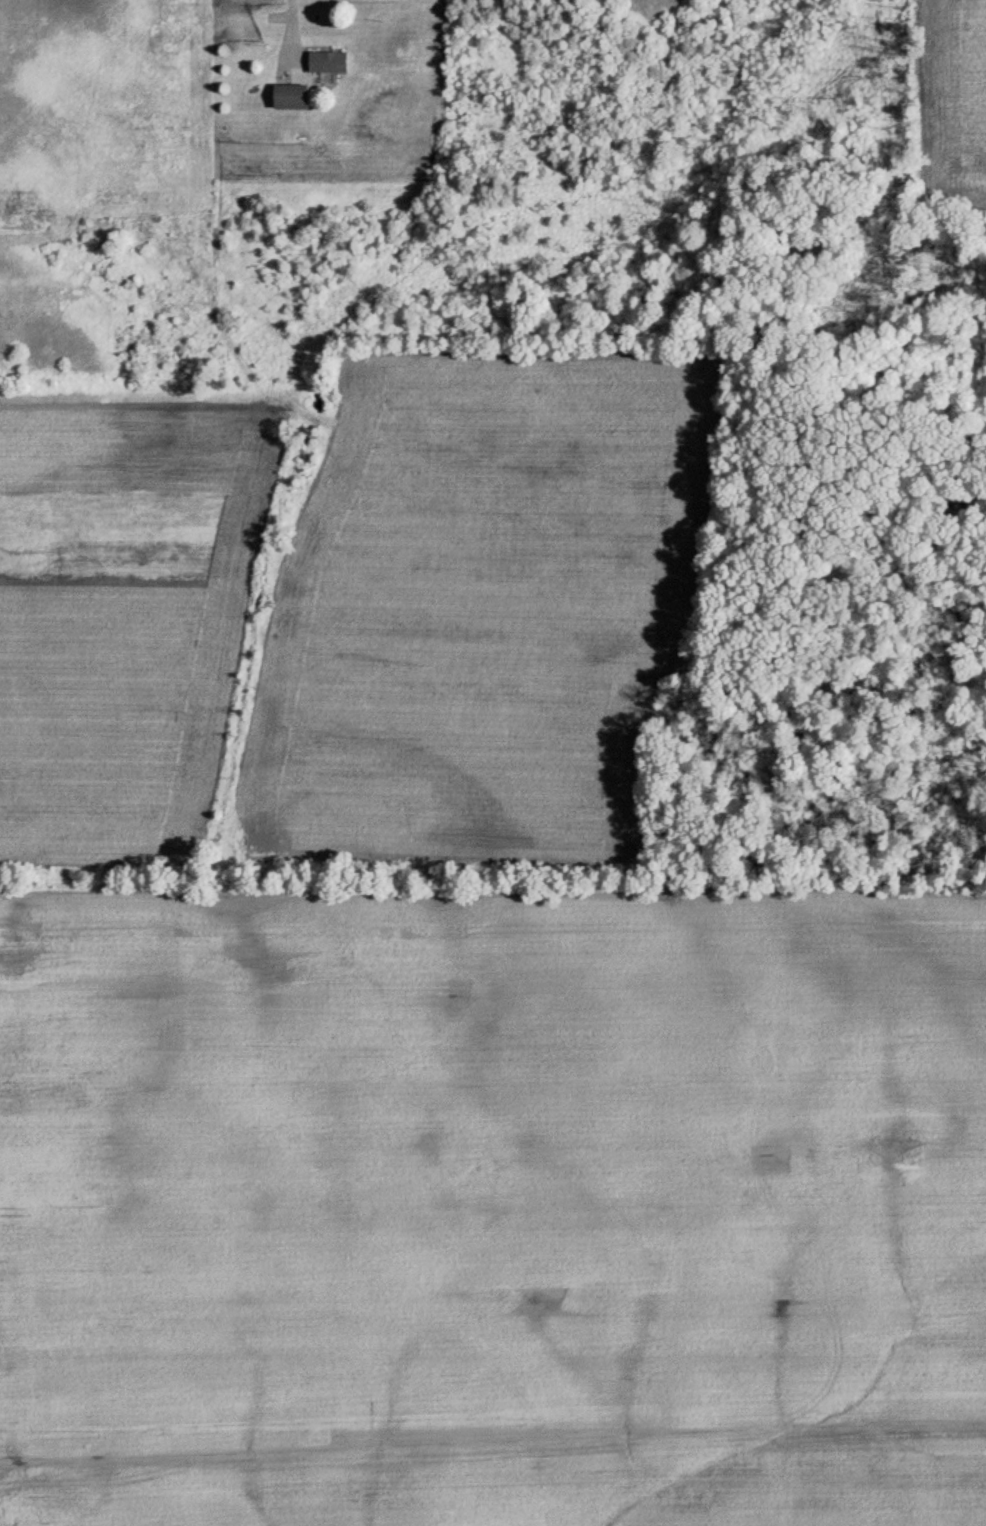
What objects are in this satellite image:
road: (291, 33)
building: (327, 61)
building: (290, 96)

